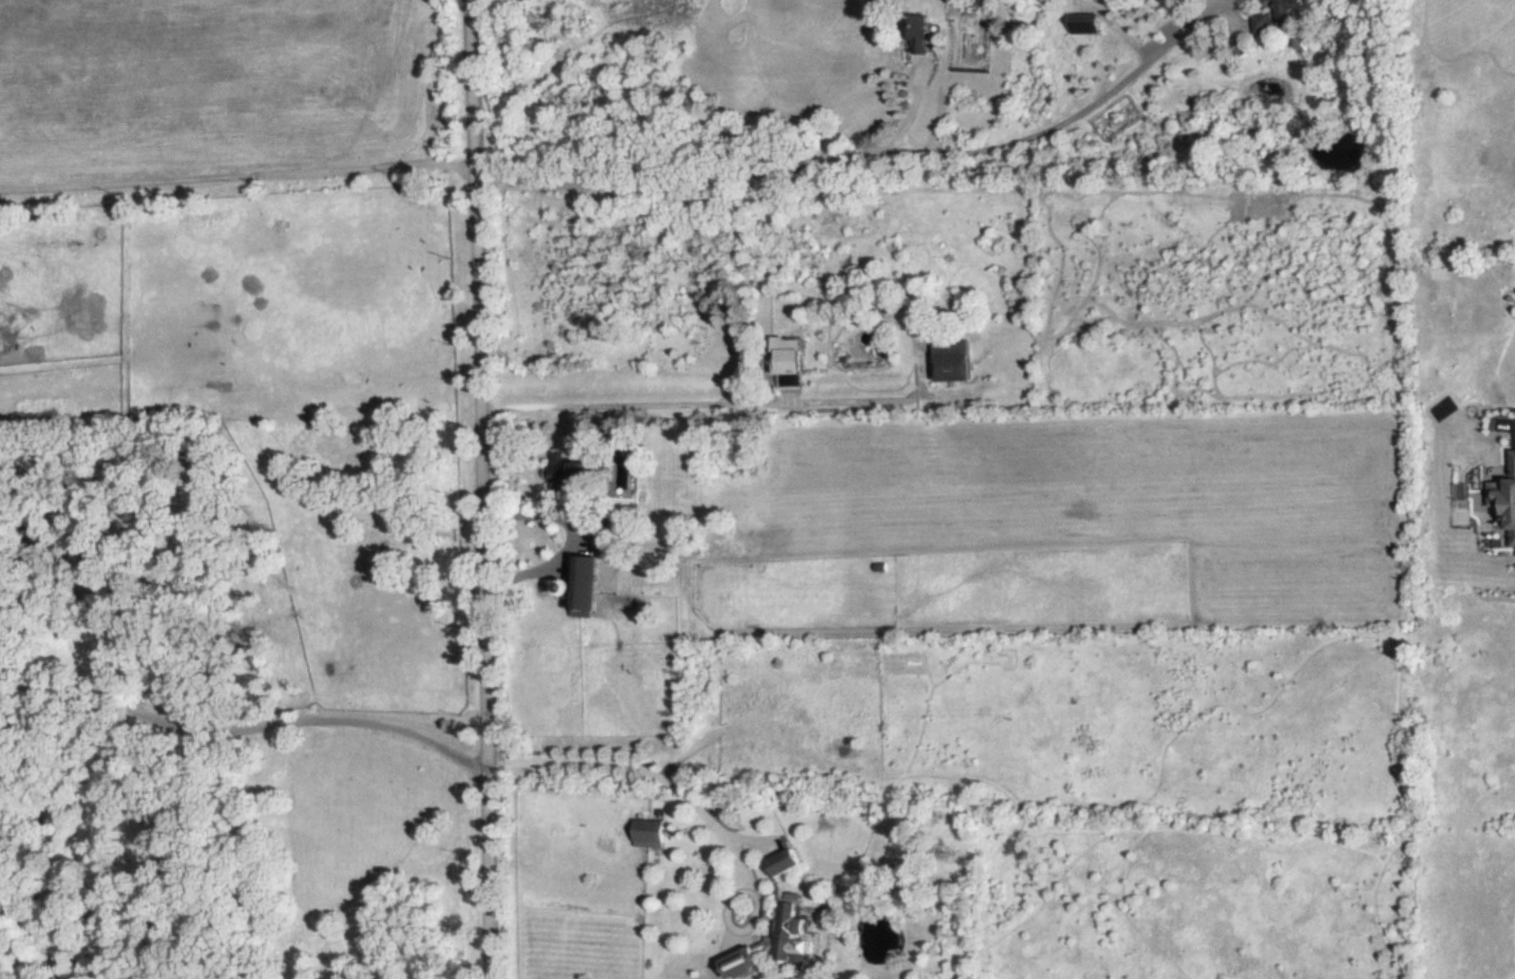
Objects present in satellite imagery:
building: (1276, 16)
building: (1087, 23)
building: (916, 38)
road: (910, 112)
road: (858, 157)
road: (237, 176)
building: (954, 359)
building: (794, 371)
road: (674, 405)
road: (1511, 425)
building: (571, 468)
road: (482, 489)
building: (1505, 501)
road: (569, 540)
building: (586, 586)
road: (245, 725)
road: (643, 771)
building: (787, 905)

